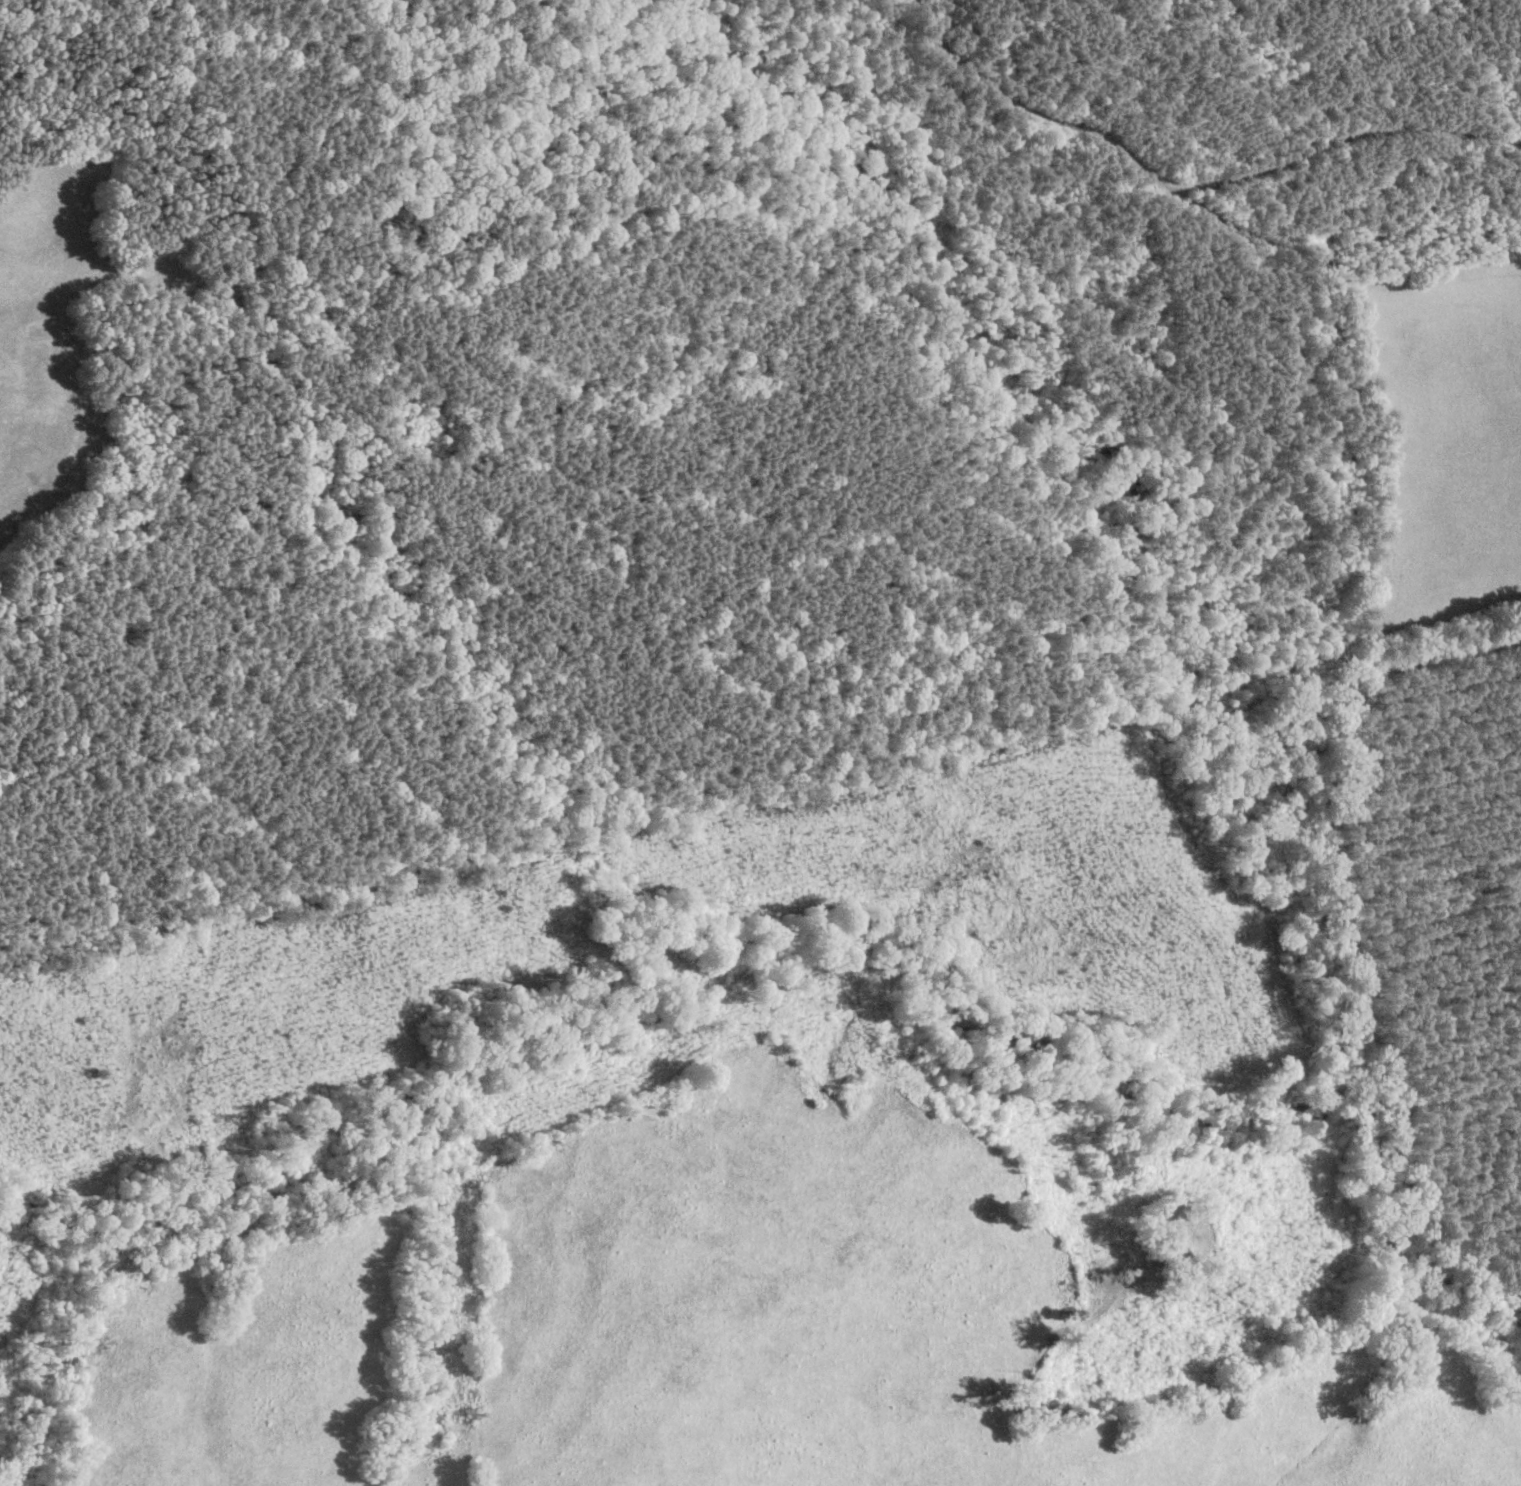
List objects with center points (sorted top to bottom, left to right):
road: (1187, 187)

